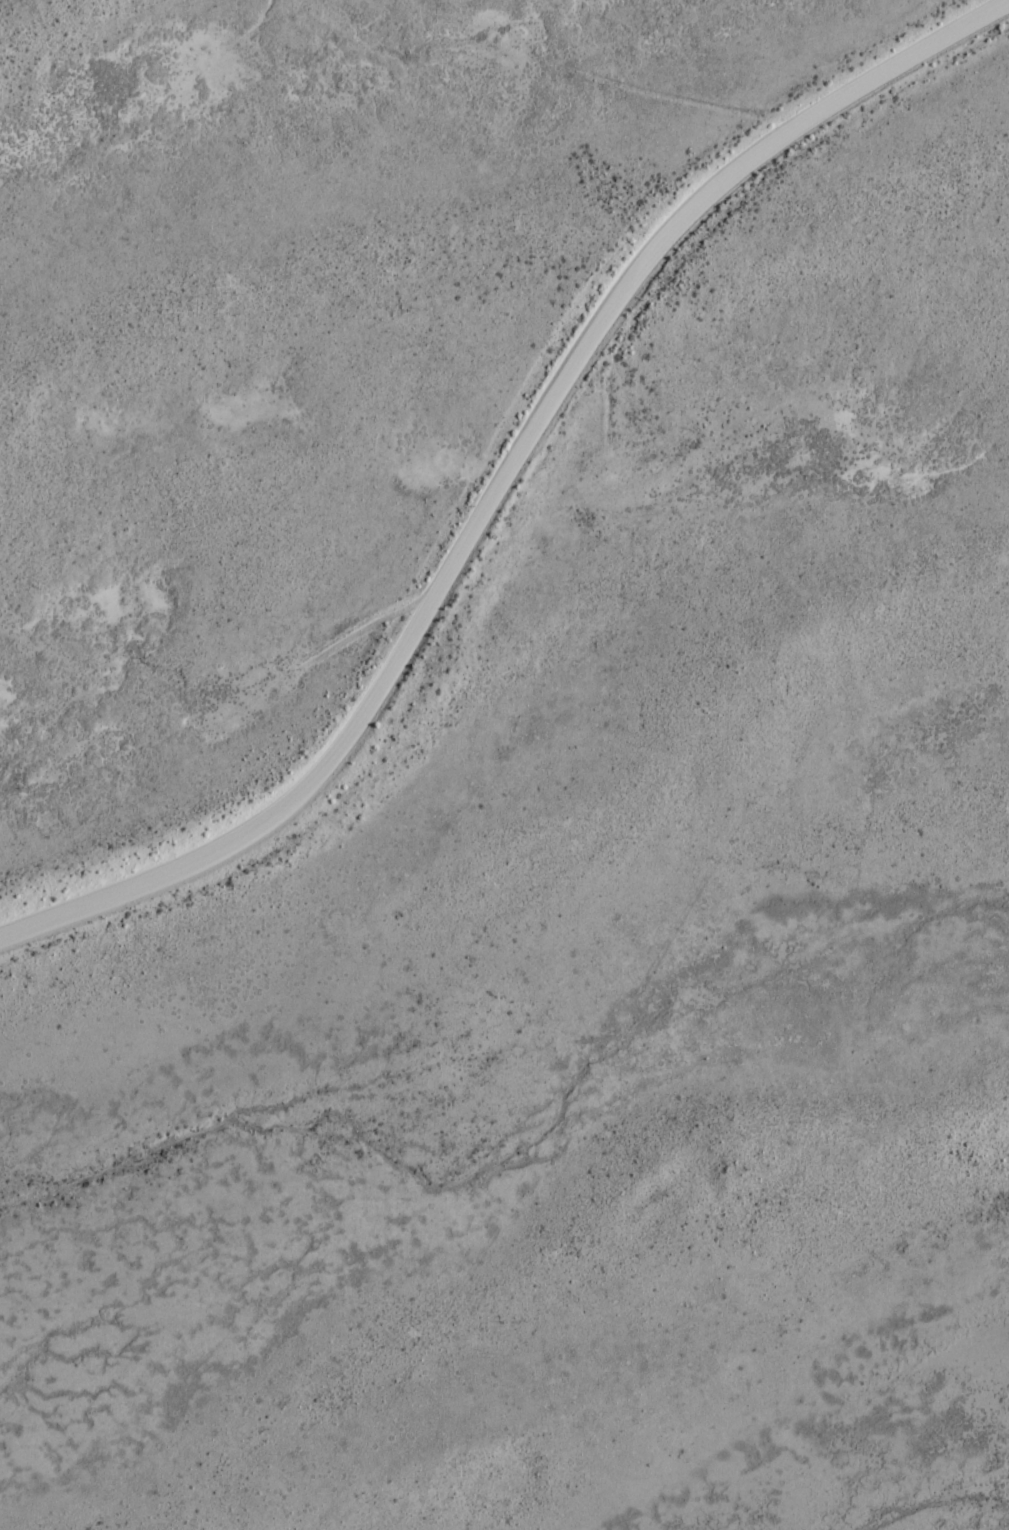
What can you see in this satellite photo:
road: (504, 481)
river: (1005, 1527)

